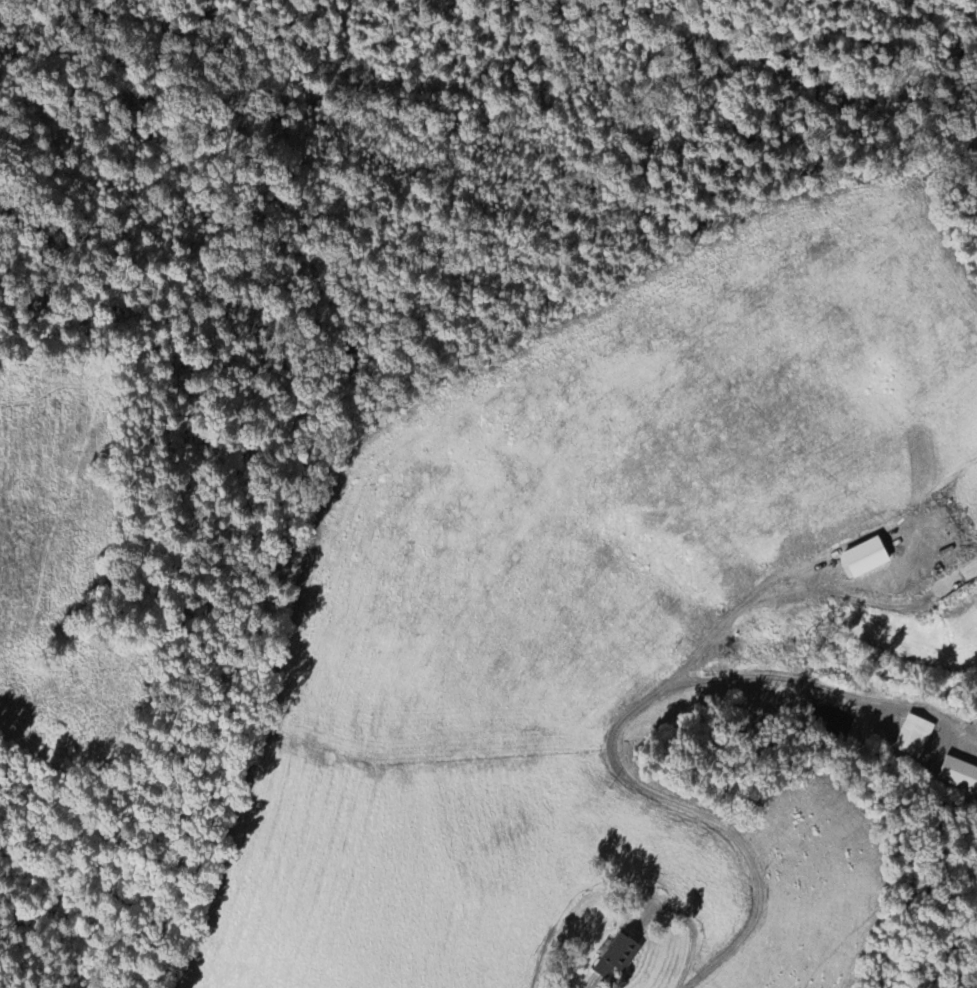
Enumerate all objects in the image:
building: (868, 558)
road: (650, 699)
building: (913, 737)
building: (958, 776)
building: (619, 957)
road: (709, 966)

